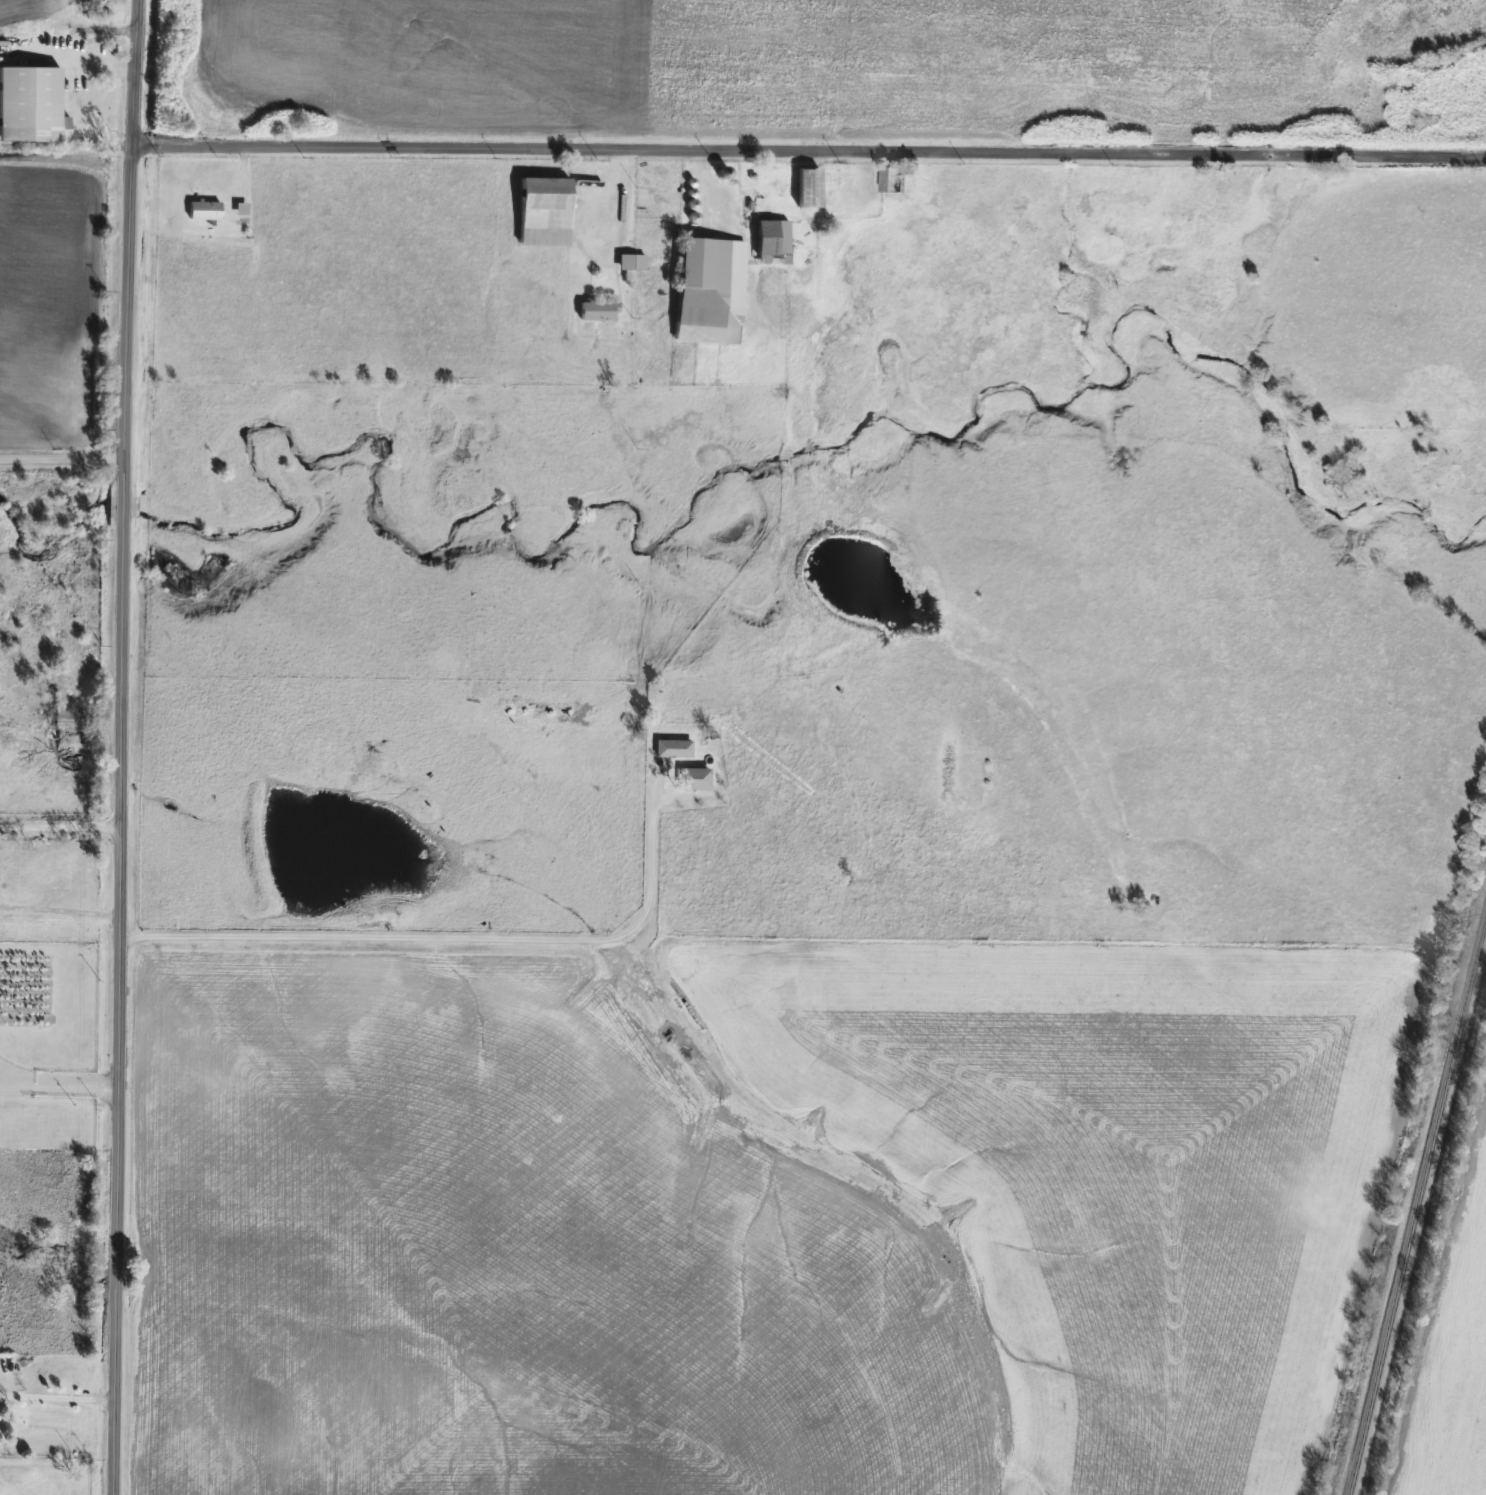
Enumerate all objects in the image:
road: (73, 58)
building: (30, 105)
road: (807, 152)
building: (891, 178)
road: (703, 186)
building: (806, 186)
road: (611, 191)
building: (203, 209)
building: (542, 210)
building: (771, 240)
building: (628, 263)
building: (707, 290)
building: (597, 309)
road: (60, 463)
road: (117, 747)
building: (673, 750)
building: (695, 780)
road: (58, 832)
road: (57, 910)
road: (449, 939)
road: (55, 1081)
railway: (1417, 1208)
crop: (752, 1220)
road: (56, 1395)

